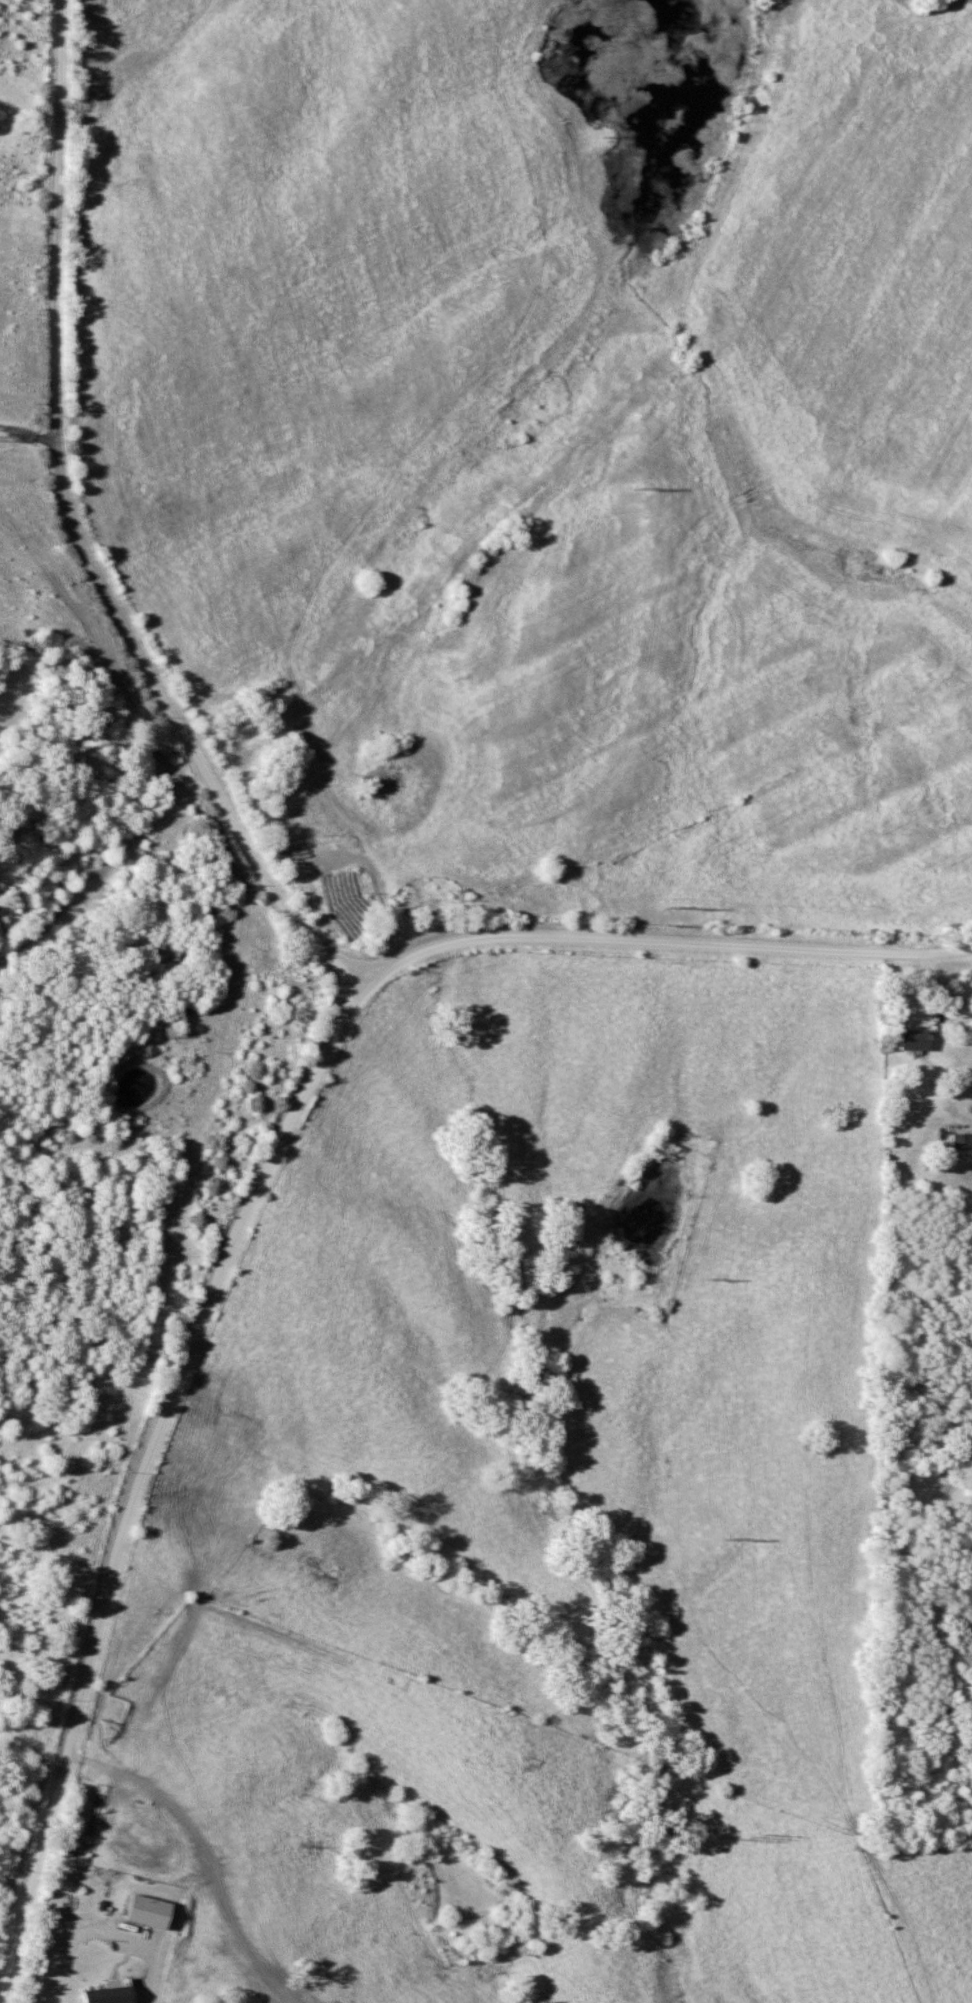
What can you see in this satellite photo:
power tower: (614, 136)
power tower: (644, 488)
road: (71, 533)
power tower: (685, 901)
building: (915, 1039)
building: (961, 1141)
road: (260, 1179)
power tower: (714, 1273)
power tower: (738, 1535)
power tower: (763, 1834)
building: (150, 1912)
road: (102, 1925)
building: (109, 1995)

